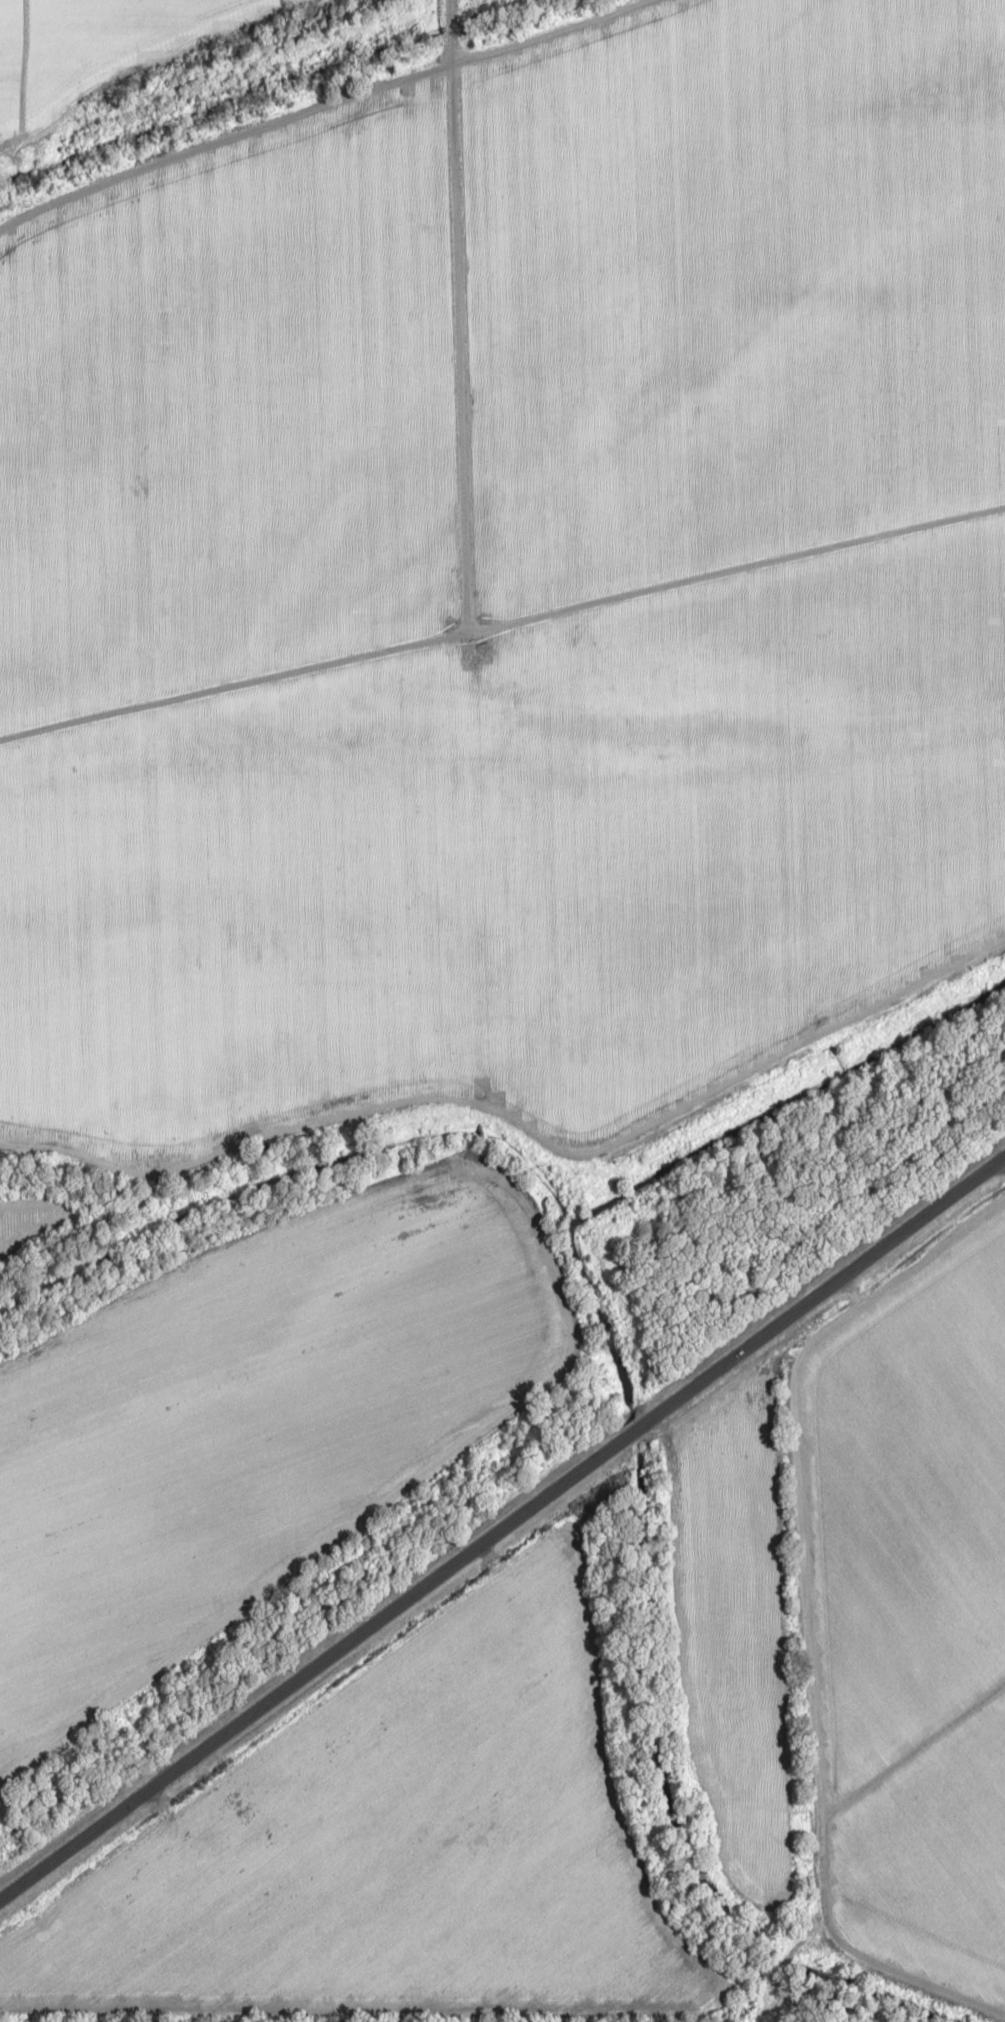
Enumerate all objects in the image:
road: (932, 1250)
road: (500, 1528)
road: (811, 1683)

